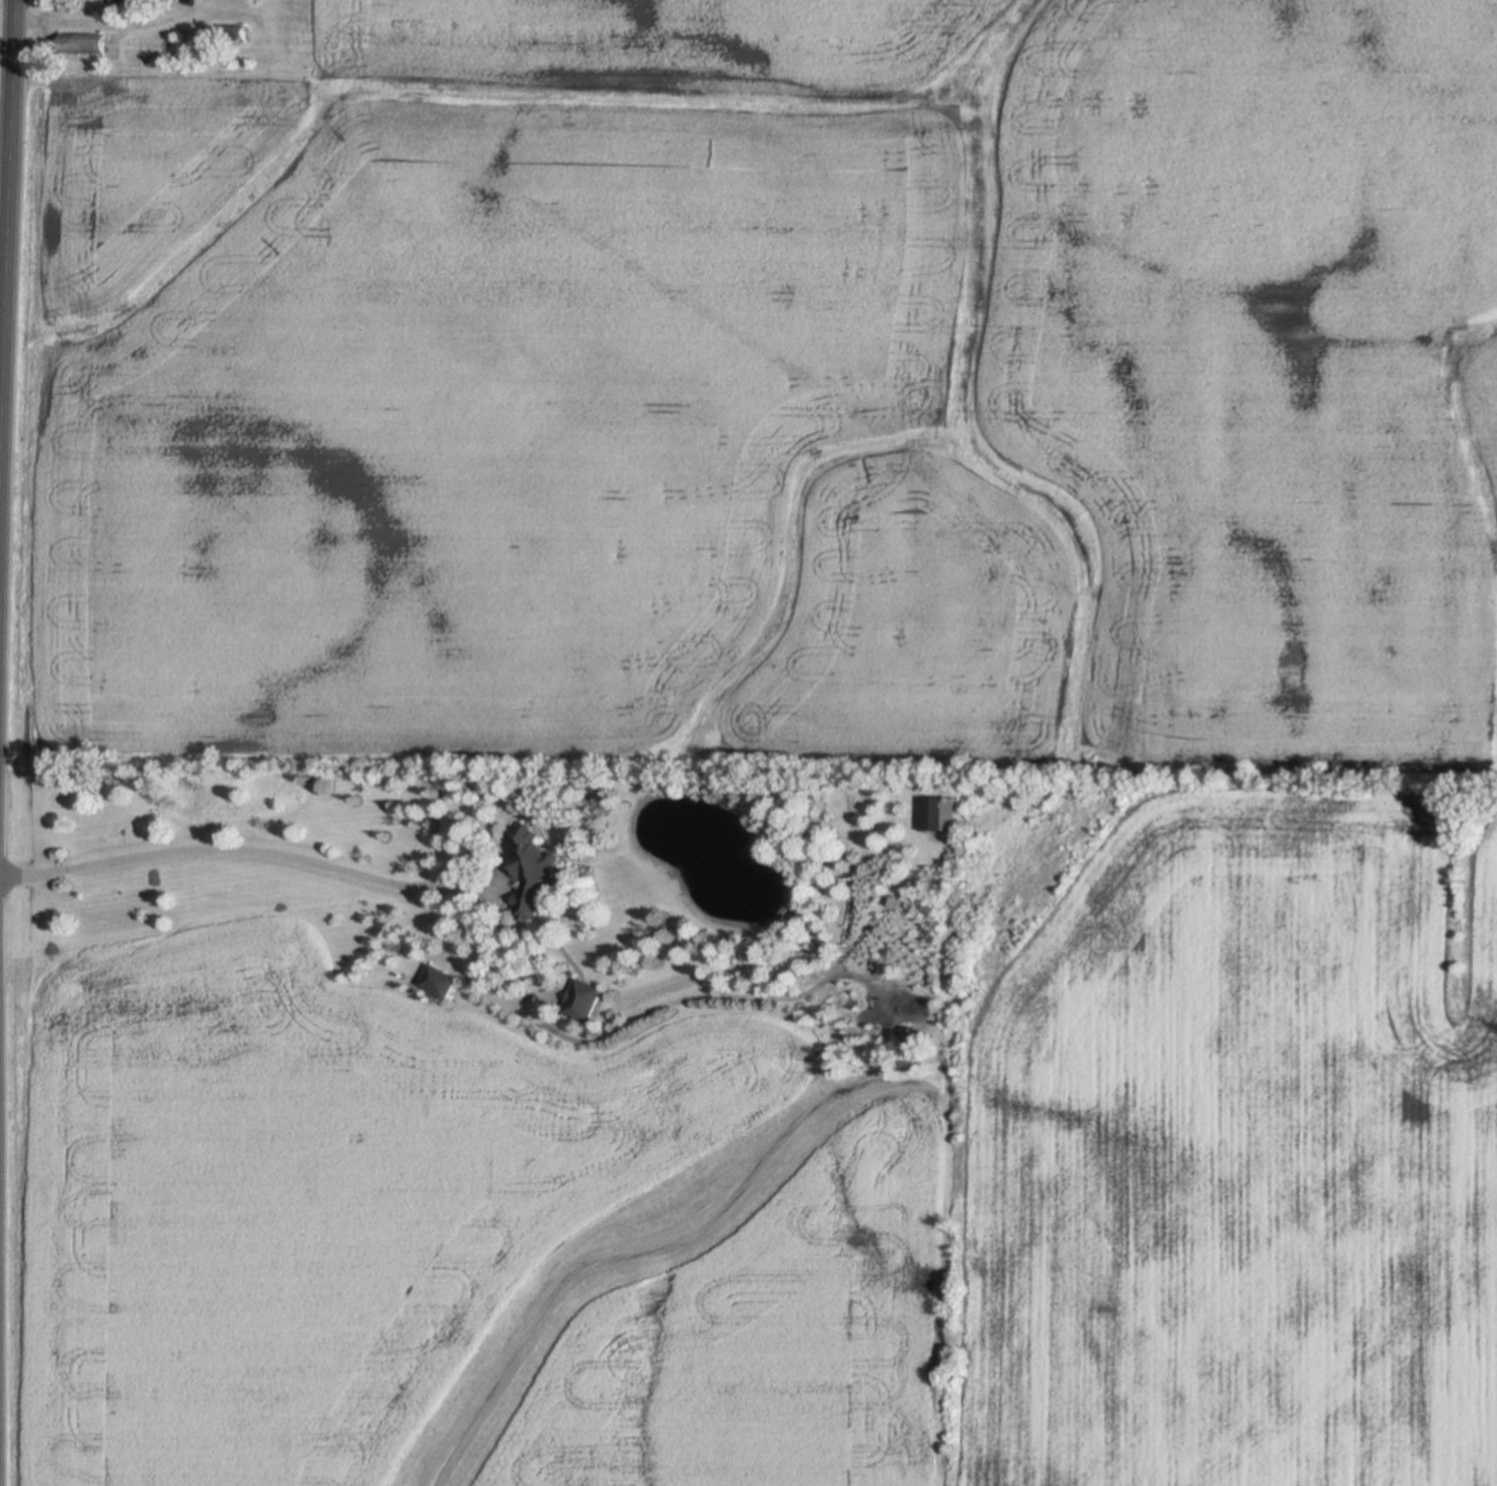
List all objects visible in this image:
building: (134, 3)
road: (99, 24)
building: (234, 33)
building: (85, 45)
road: (141, 78)
road: (7, 249)
building: (941, 807)
road: (208, 850)
building: (535, 861)
building: (587, 993)

